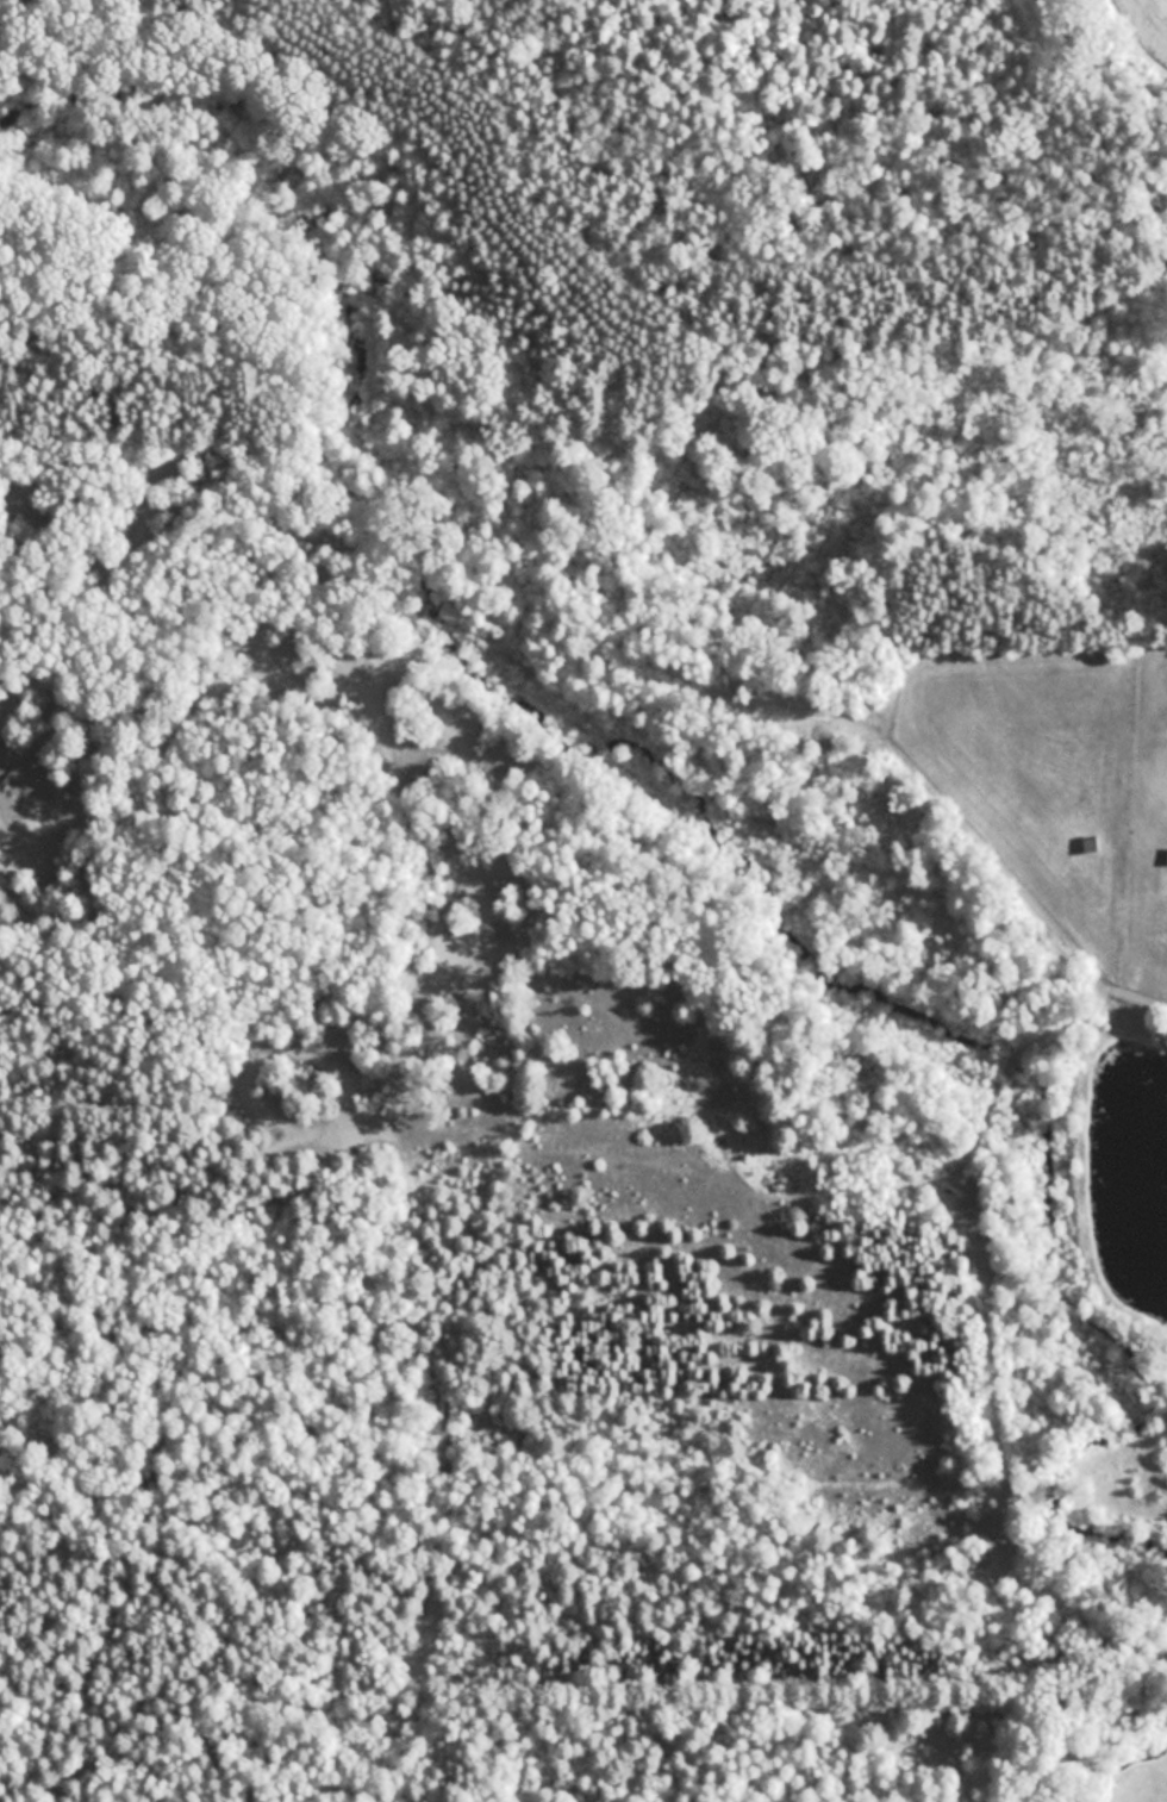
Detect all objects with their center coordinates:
building: (1090, 842)

